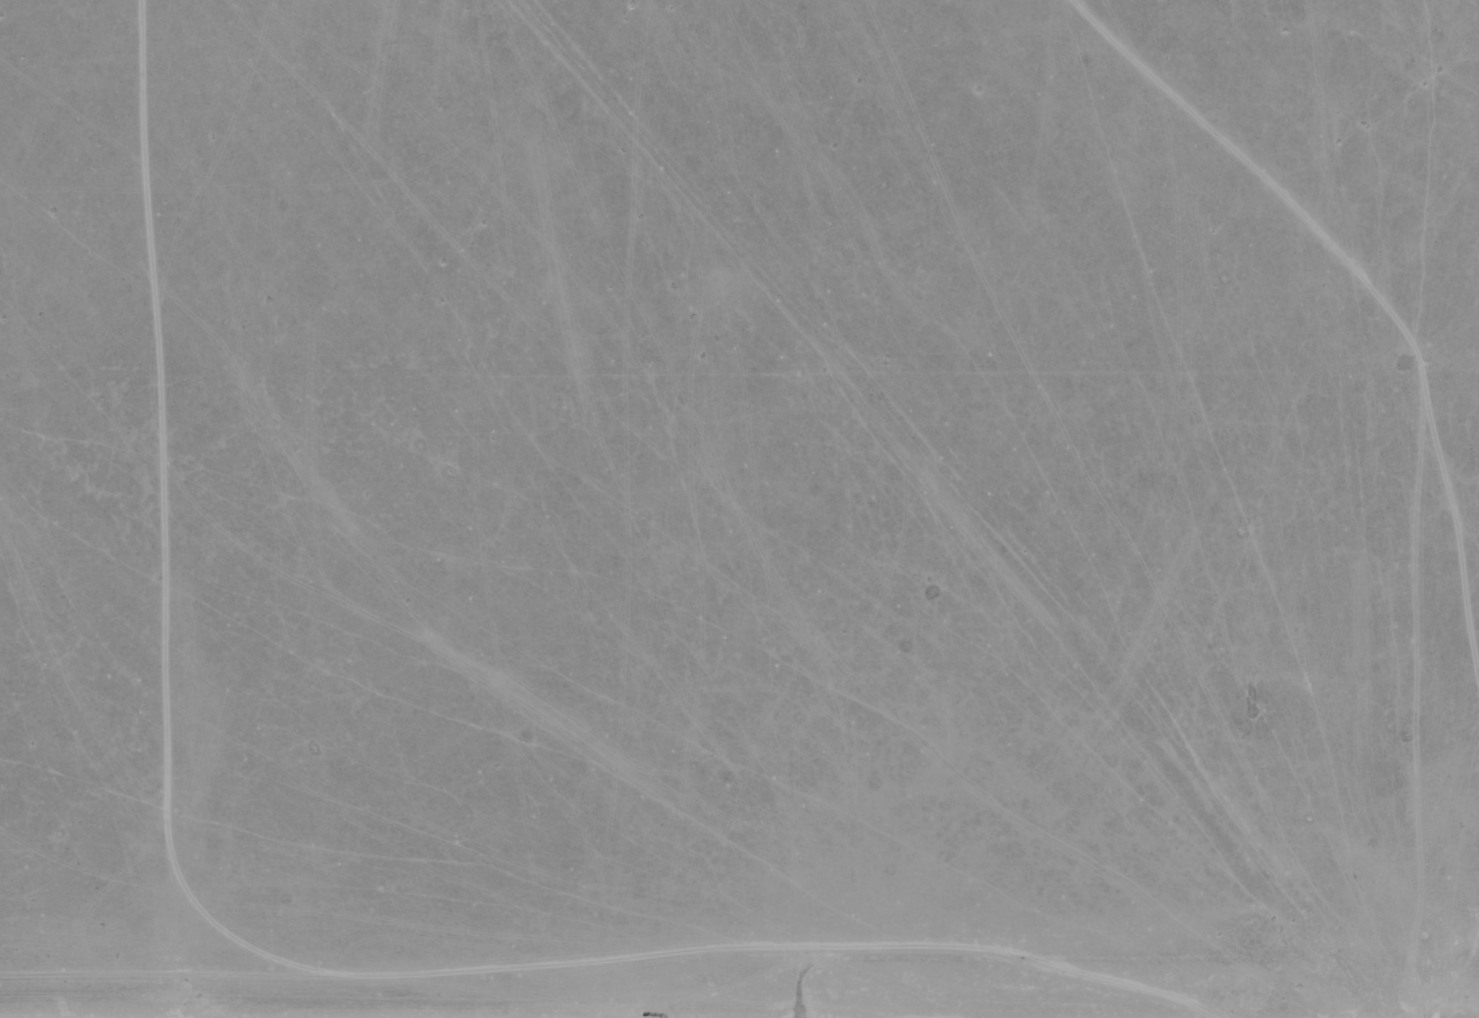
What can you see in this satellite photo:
road: (1245, 173)
road: (1181, 592)

